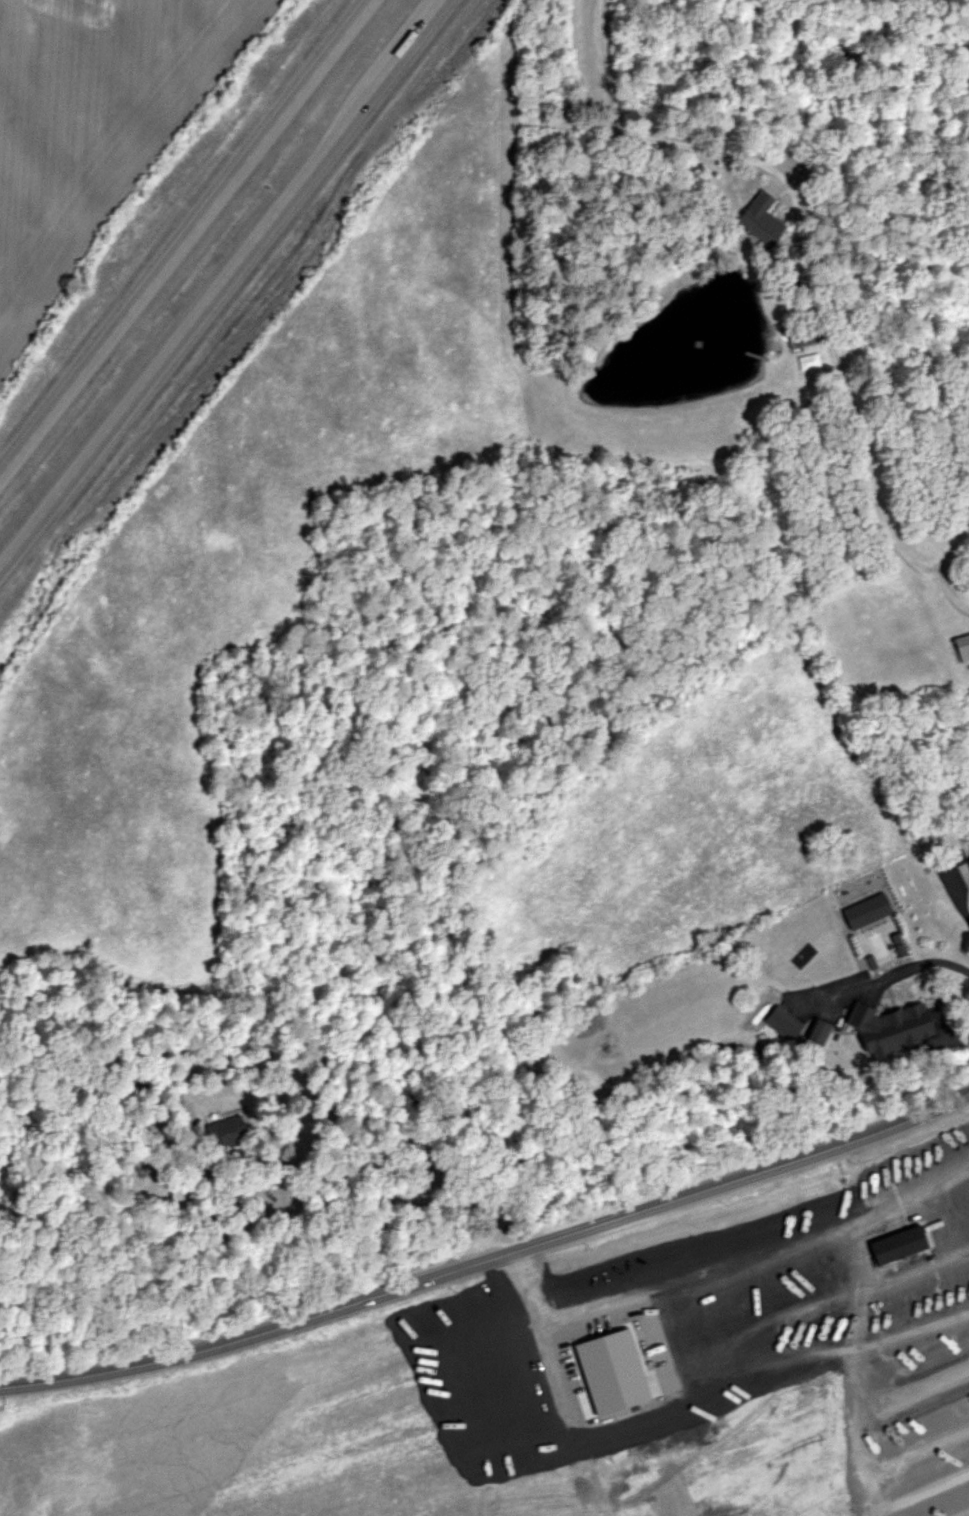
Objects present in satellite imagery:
road: (179, 232)
road: (803, 261)
road: (218, 281)
building: (964, 648)
road: (875, 993)
road: (394, 1194)
building: (904, 1244)
road: (488, 1254)
road: (884, 1338)
road: (438, 1360)
road: (459, 1413)
road: (859, 1432)

